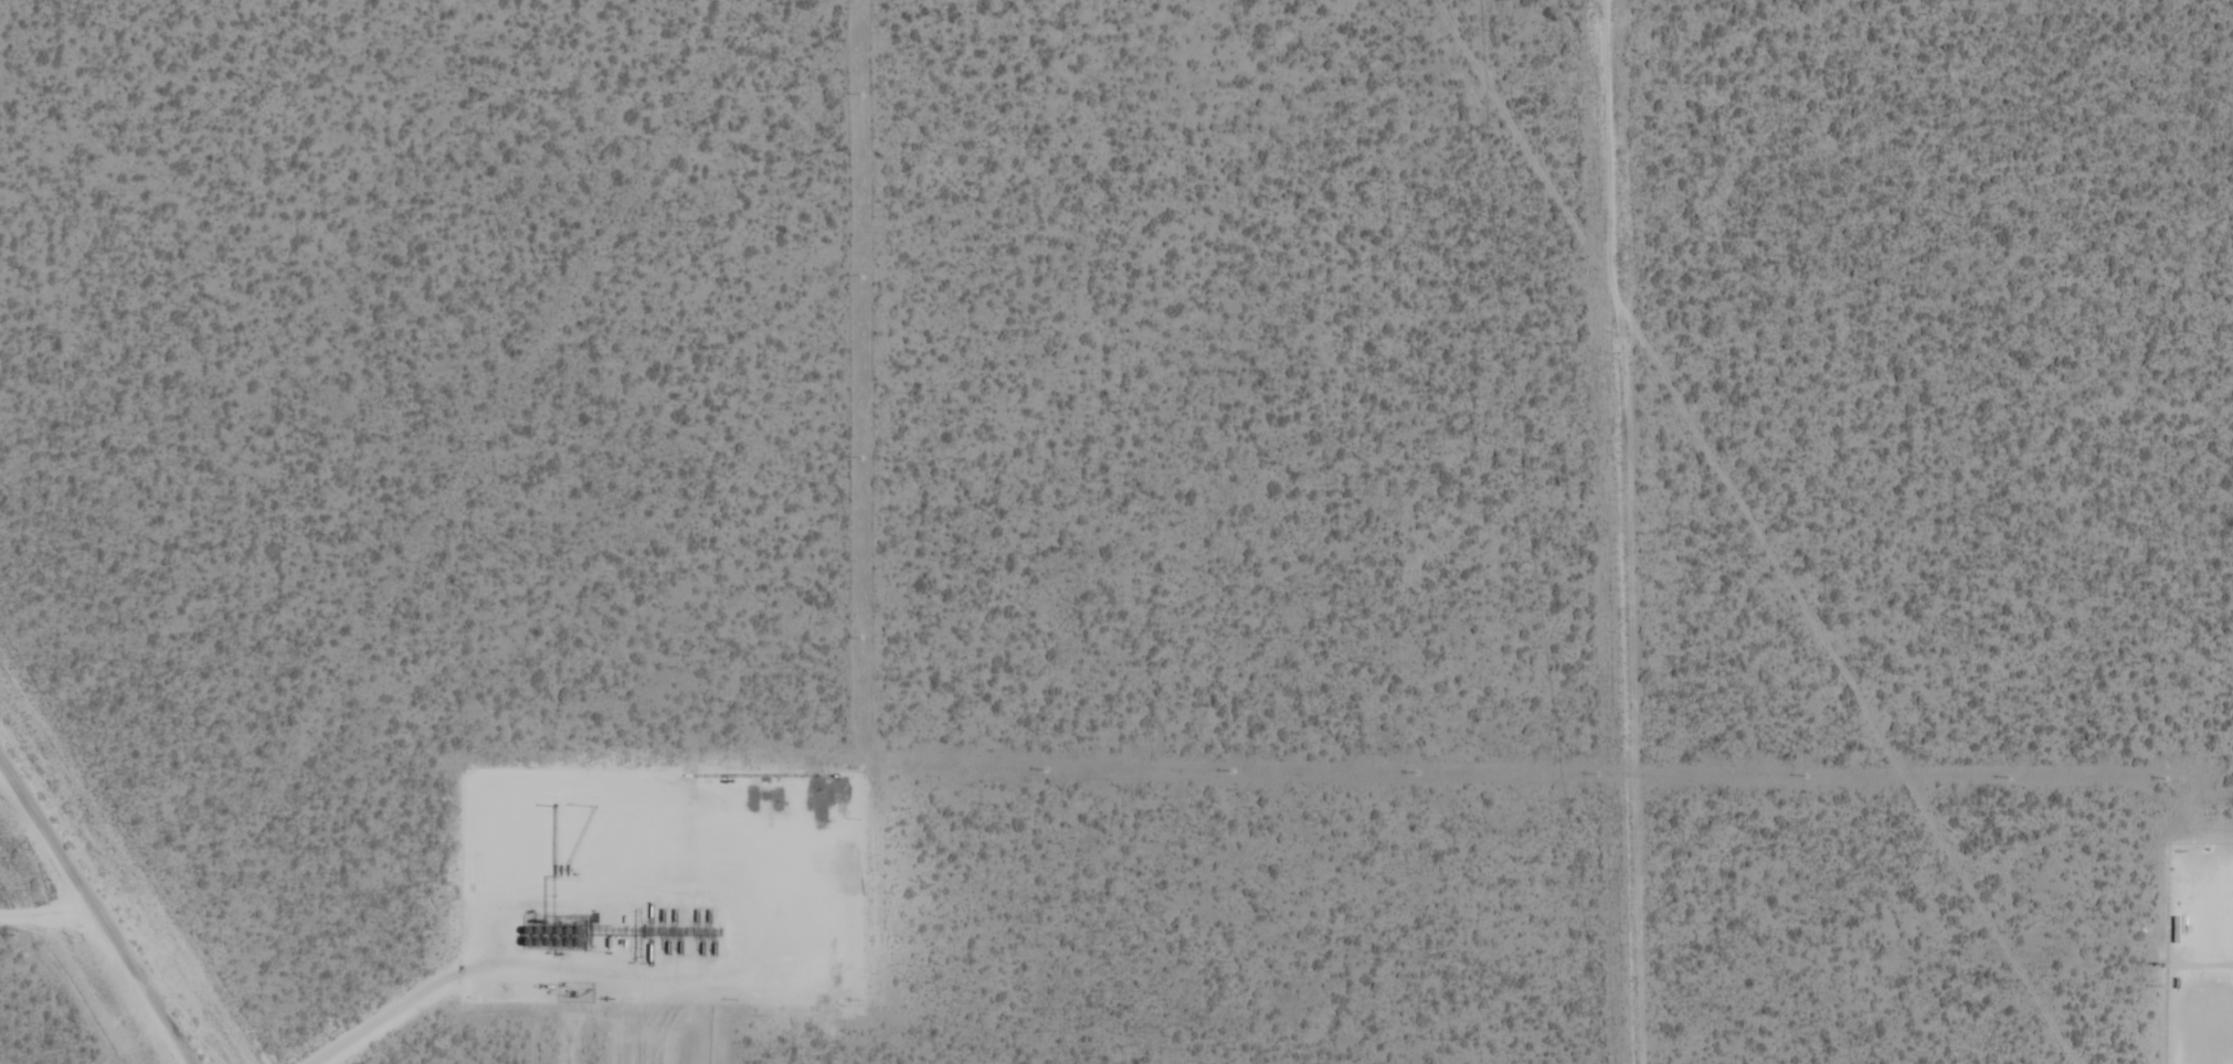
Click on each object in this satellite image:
road: (39, 906)
road: (91, 926)
road: (549, 928)
road: (2195, 957)

